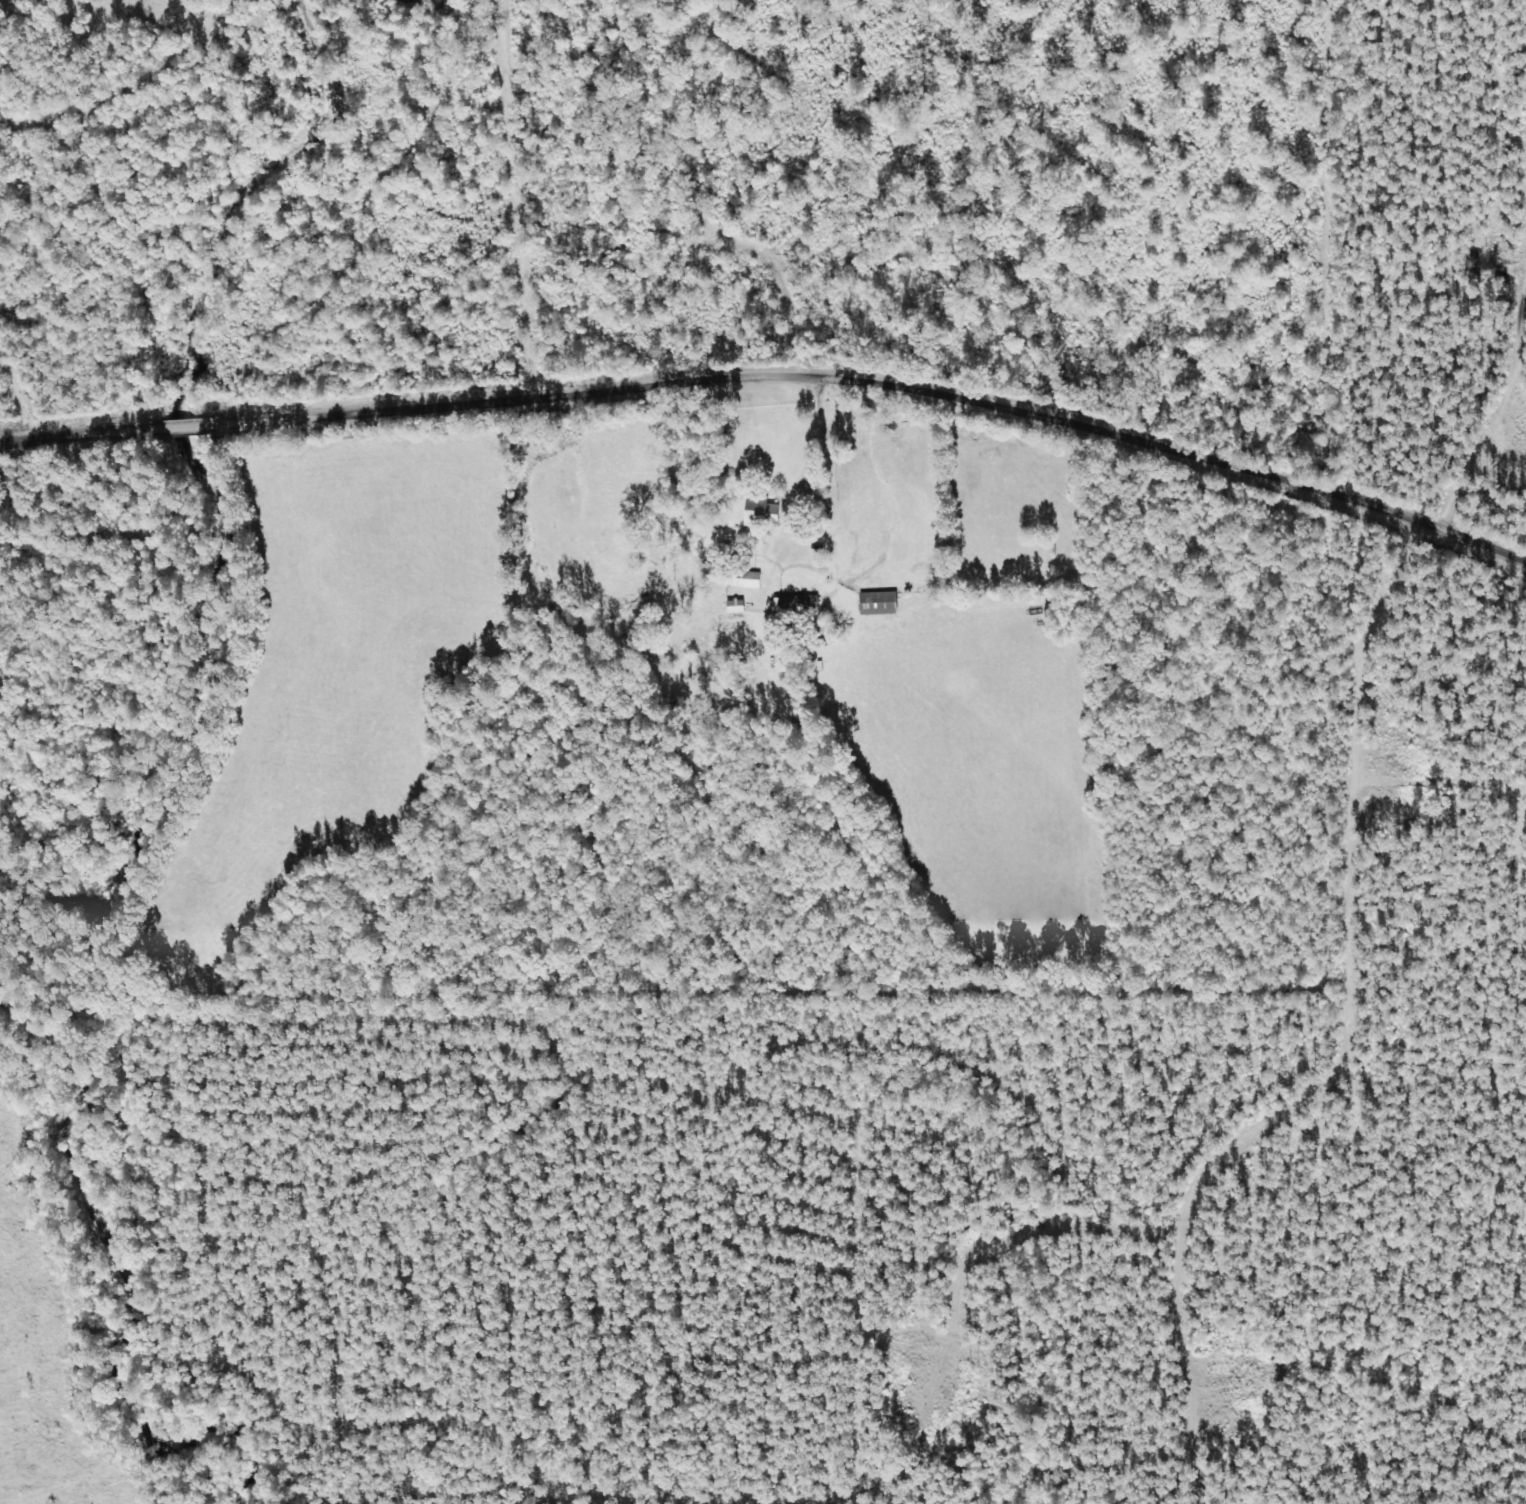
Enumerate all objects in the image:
road: (774, 411)
building: (767, 511)
building: (882, 607)
road: (875, 867)
road: (1423, 962)
road: (1193, 1383)

